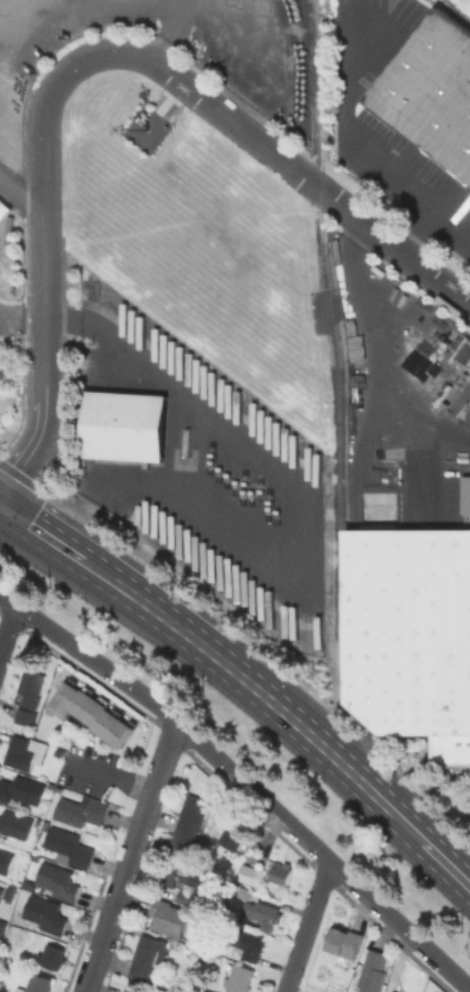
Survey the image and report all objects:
road: (179, 3)
railway: (462, 5)
road: (110, 9)
railway: (456, 13)
road: (166, 33)
building: (434, 93)
road: (230, 120)
road: (356, 140)
road: (21, 195)
road: (42, 206)
road: (417, 232)
railway: (331, 309)
road: (21, 315)
road: (387, 344)
road: (43, 375)
building: (126, 427)
road: (286, 479)
building: (465, 496)
road: (8, 629)
building: (409, 632)
road: (246, 682)
building: (29, 695)
building: (96, 716)
building: (28, 730)
building: (26, 751)
building: (450, 753)
building: (36, 769)
road: (243, 780)
building: (58, 788)
building: (21, 789)
road: (153, 789)
building: (82, 810)
building: (16, 823)
building: (189, 827)
building: (234, 832)
building: (246, 842)
building: (70, 845)
building: (6, 861)
building: (281, 872)
building: (249, 874)
building: (182, 877)
building: (58, 880)
building: (1, 891)
building: (245, 892)
building: (184, 897)
building: (44, 914)
building: (167, 916)
building: (262, 916)
building: (2, 925)
road: (107, 925)
road: (307, 926)
building: (345, 941)
building: (249, 942)
building: (51, 956)
building: (147, 959)
building: (375, 971)
building: (199, 977)
building: (239, 978)
building: (37, 983)
building: (200, 991)
building: (204, 991)
building: (395, 991)

